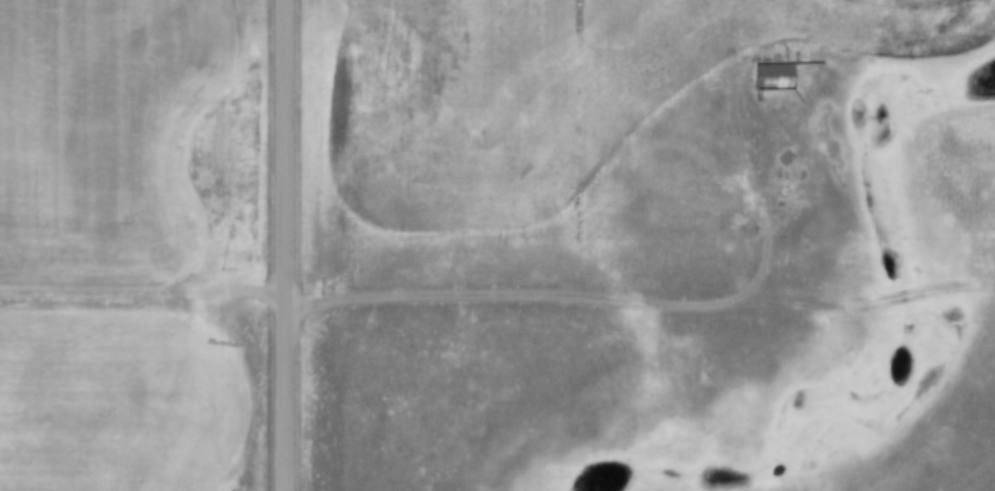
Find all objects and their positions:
building: (775, 78)
road: (771, 205)
road: (288, 245)
road: (499, 296)

